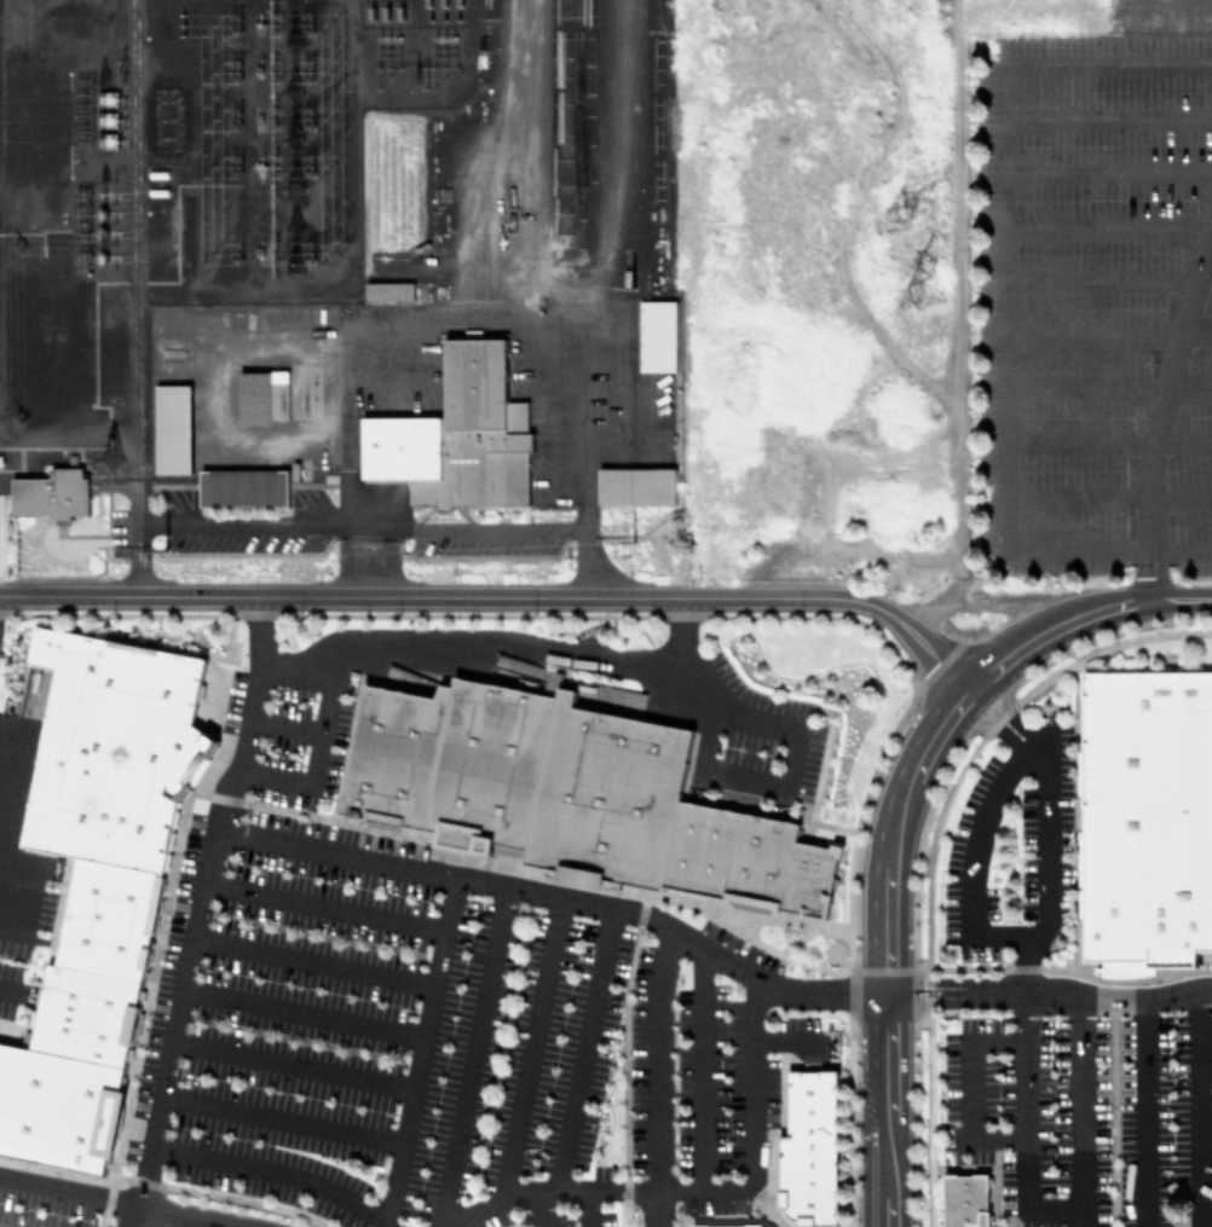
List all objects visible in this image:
power tower: (288, 17)
road: (1108, 117)
road: (1108, 170)
road: (1107, 226)
road: (1206, 268)
road: (1101, 279)
power tower: (631, 285)
power tower: (920, 287)
building: (388, 290)
power substation: (340, 293)
parking lot: (1096, 295)
road: (1005, 307)
road: (1108, 334)
building: (656, 335)
road: (1108, 388)
building: (262, 397)
road: (1160, 407)
building: (172, 428)
building: (457, 435)
road: (1108, 444)
building: (635, 486)
building: (243, 487)
building: (51, 493)
road: (1108, 498)
road: (250, 521)
road: (475, 526)
power tower: (633, 534)
power tower: (158, 544)
road: (137, 557)
road: (367, 560)
road: (590, 561)
road: (502, 597)
road: (1179, 597)
road: (1050, 632)
road: (507, 642)
road: (1008, 708)
road: (249, 716)
road: (285, 724)
road: (988, 727)
parking lot: (767, 741)
road: (317, 751)
road: (790, 764)
building: (569, 794)
building: (1147, 814)
parking lot: (1011, 843)
road: (971, 862)
building: (98, 875)
road: (516, 889)
road: (324, 903)
parking lot: (19, 933)
road: (888, 950)
road: (312, 960)
road: (11, 990)
road: (1025, 992)
road: (302, 1013)
parking lot: (417, 1035)
road: (786, 1035)
road: (532, 1048)
road: (582, 1049)
road: (419, 1052)
road: (474, 1057)
road: (293, 1063)
road: (700, 1067)
road: (659, 1080)
road: (971, 1088)
road: (1197, 1109)
road: (1080, 1113)
parking lot: (1087, 1115)
road: (1147, 1115)
road: (282, 1118)
road: (750, 1128)
building: (808, 1147)
road: (275, 1170)
road: (70, 1187)
road: (546, 1191)
building: (965, 1200)
road: (589, 1208)
road: (541, 1209)
road: (189, 1220)
building: (727, 1226)

